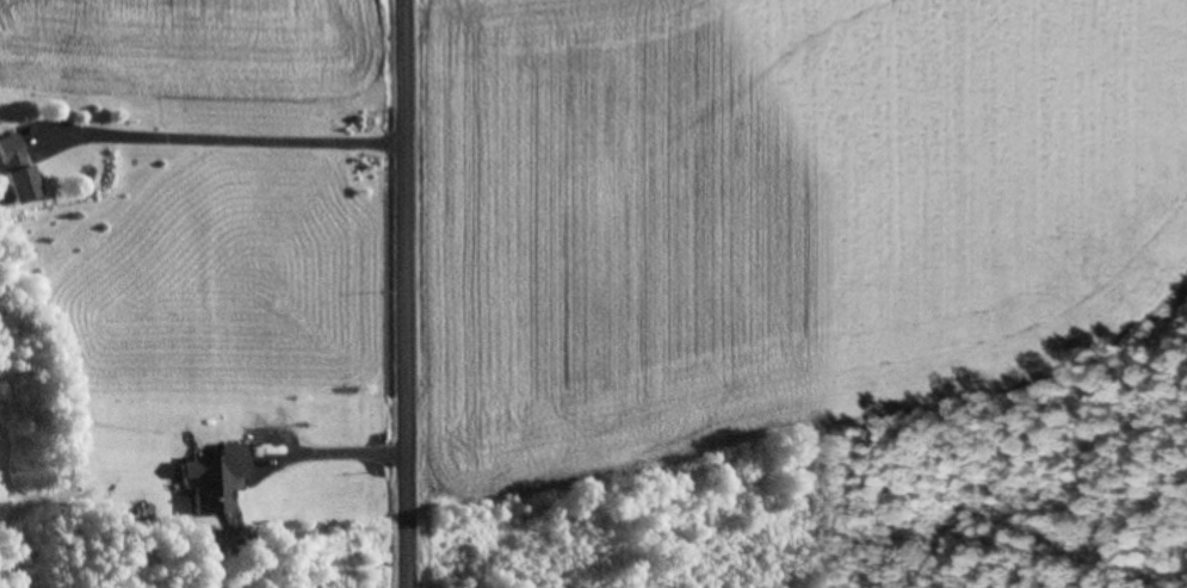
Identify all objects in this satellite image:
road: (222, 137)
building: (21, 184)
road: (404, 293)
road: (335, 450)

